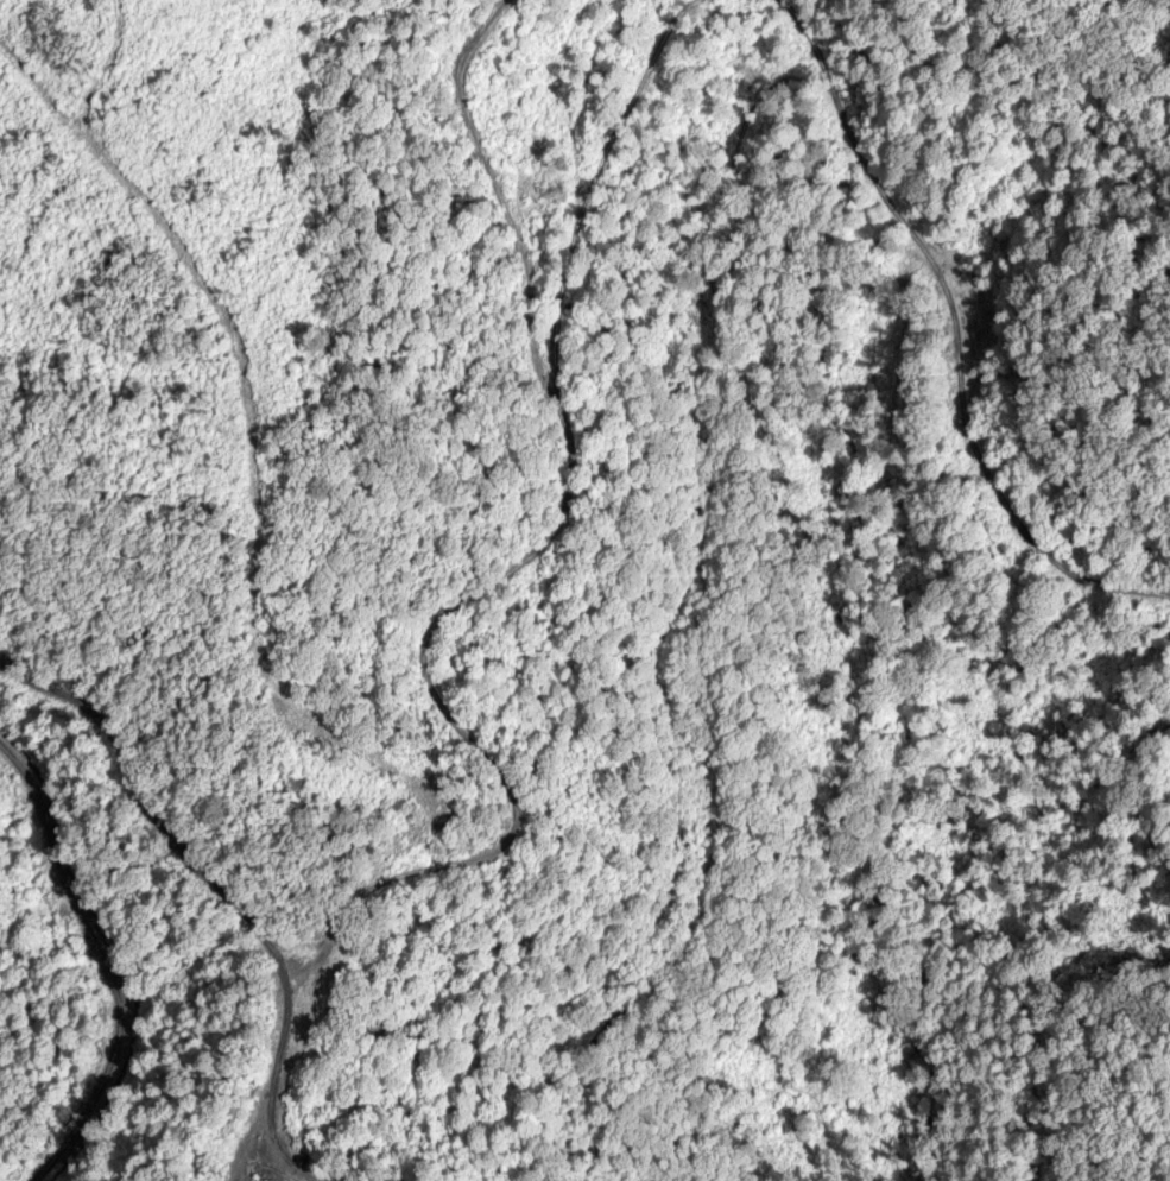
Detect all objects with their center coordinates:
road: (216, 893)
road: (96, 965)

